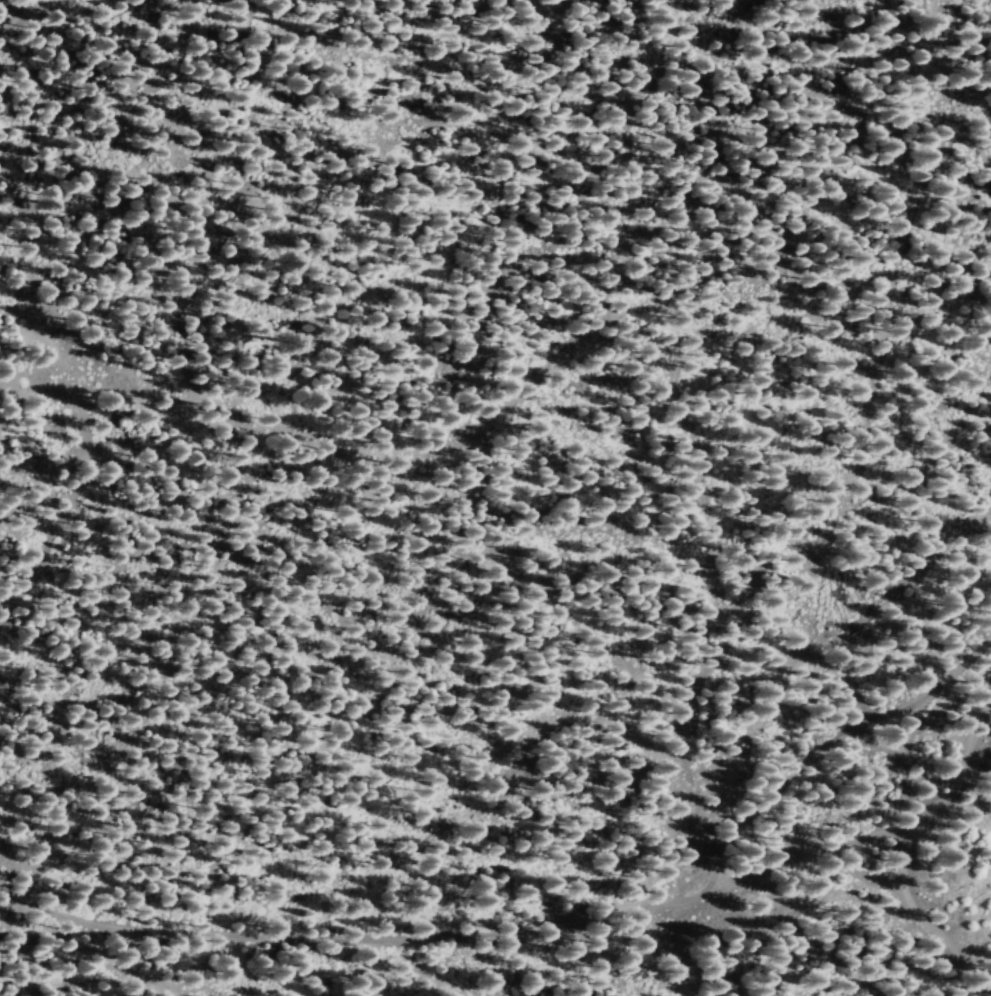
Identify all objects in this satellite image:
road: (896, 811)
road: (495, 928)

